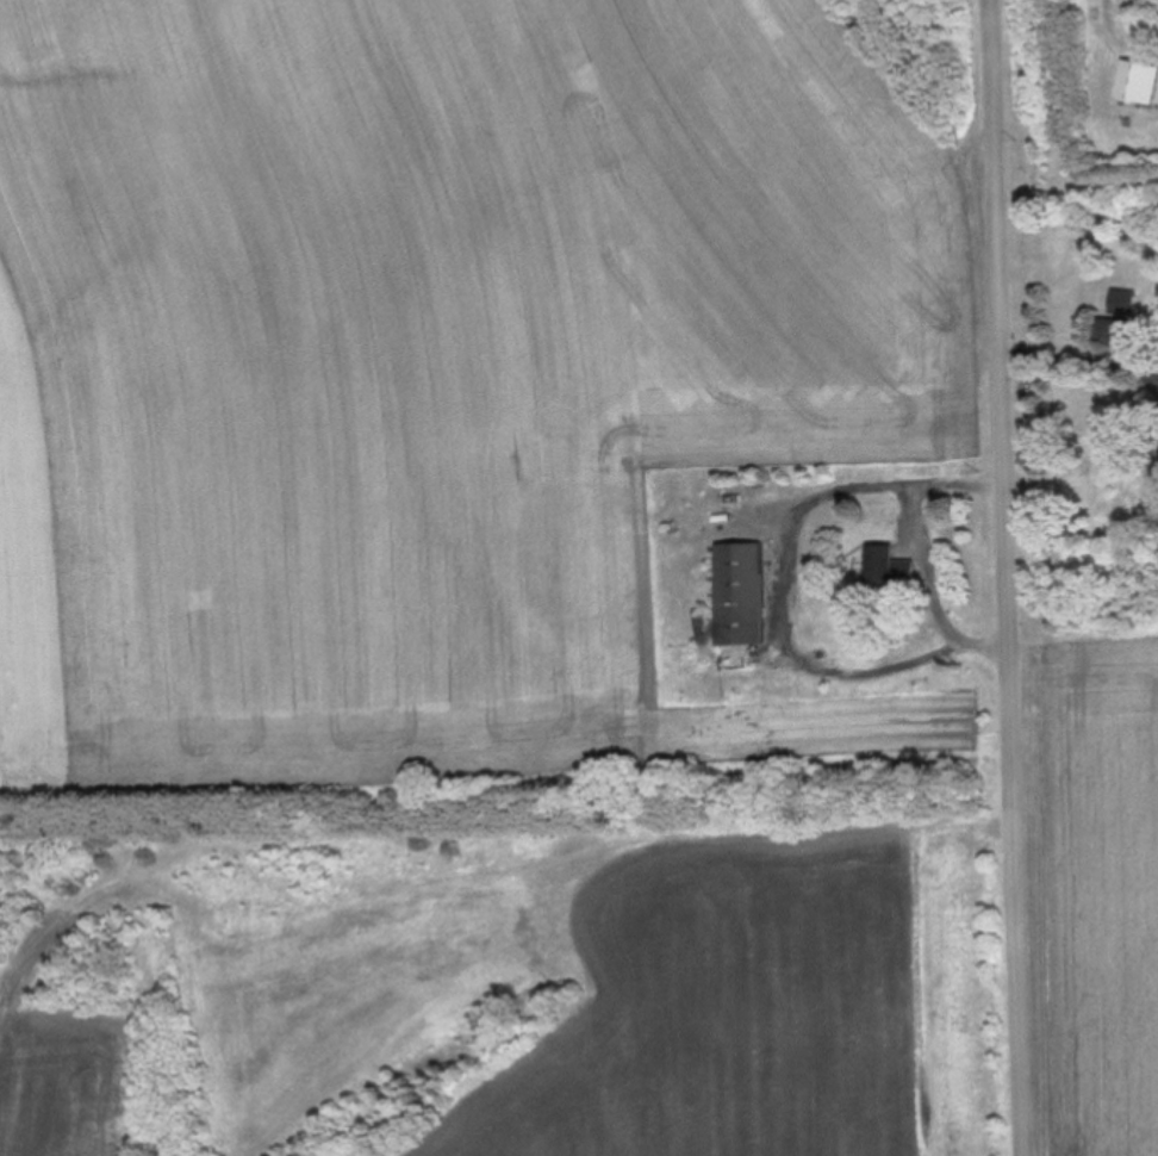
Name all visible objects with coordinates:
building: (1137, 81)
building: (1123, 303)
building: (1115, 331)
road: (1082, 359)
road: (1157, 373)
road: (1157, 381)
road: (922, 545)
building: (884, 566)
road: (1011, 577)
building: (743, 595)
road: (786, 610)

